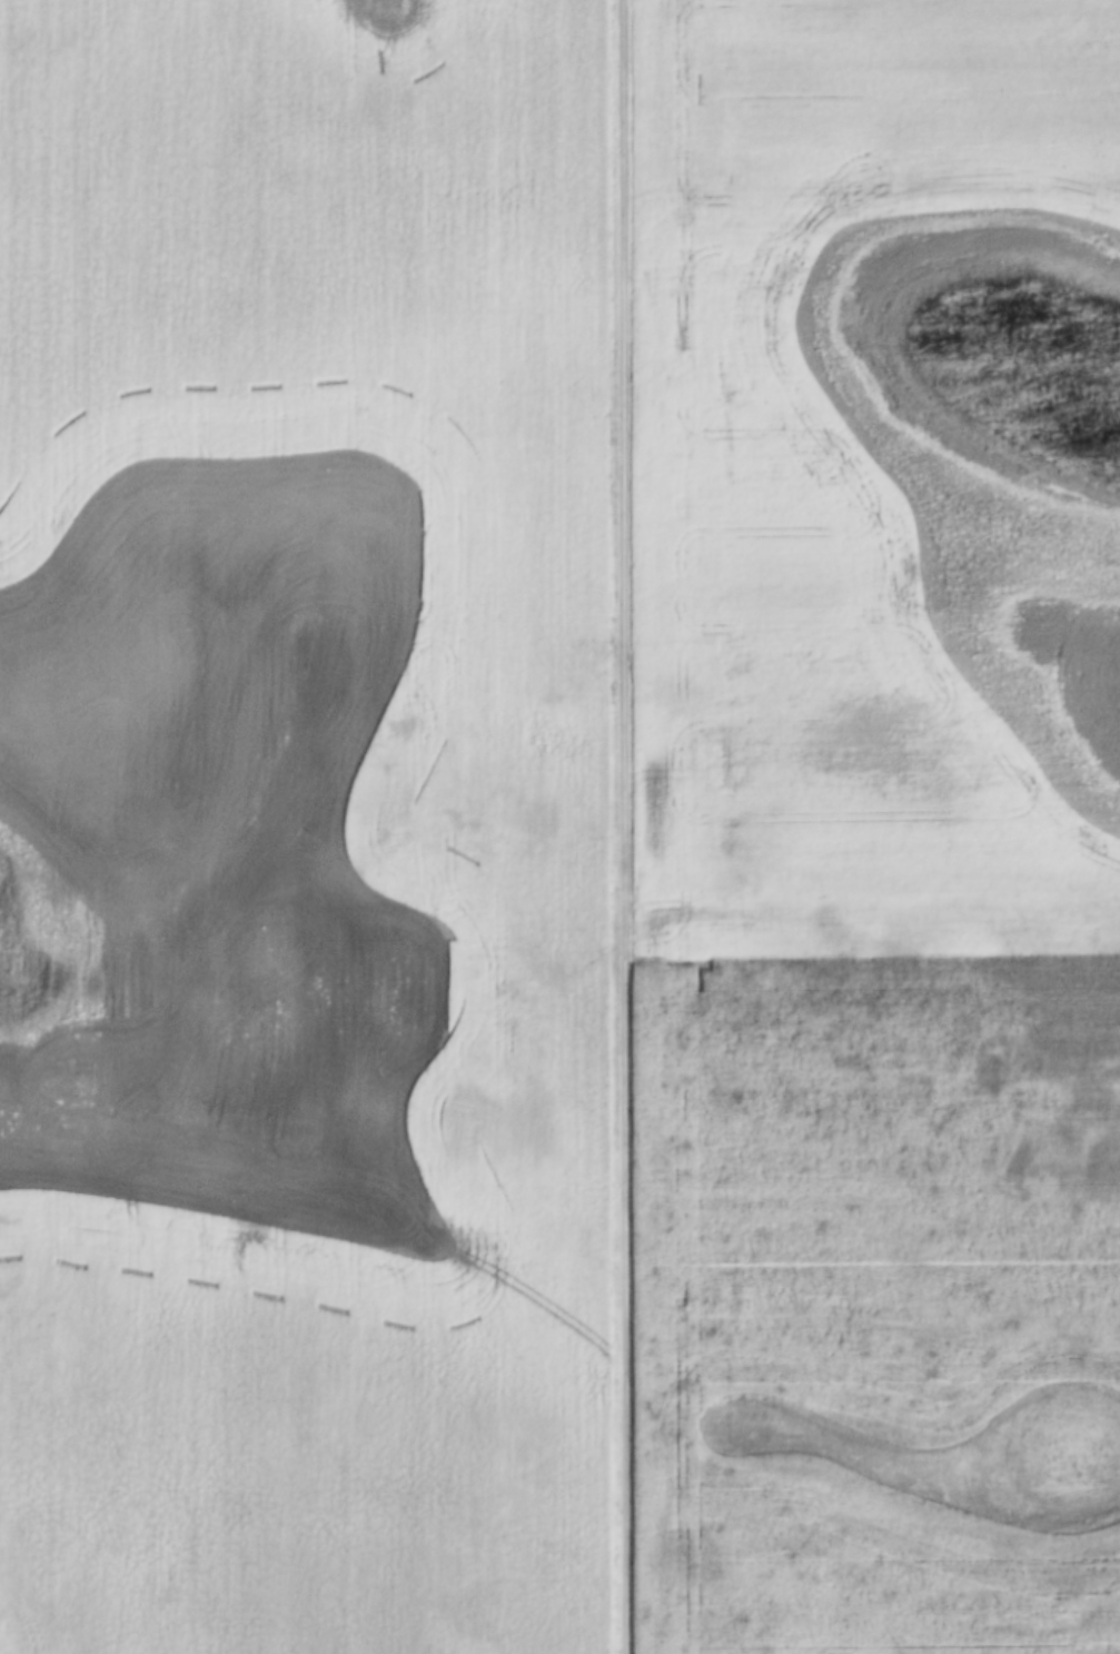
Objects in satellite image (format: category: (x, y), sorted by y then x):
road: (624, 826)

